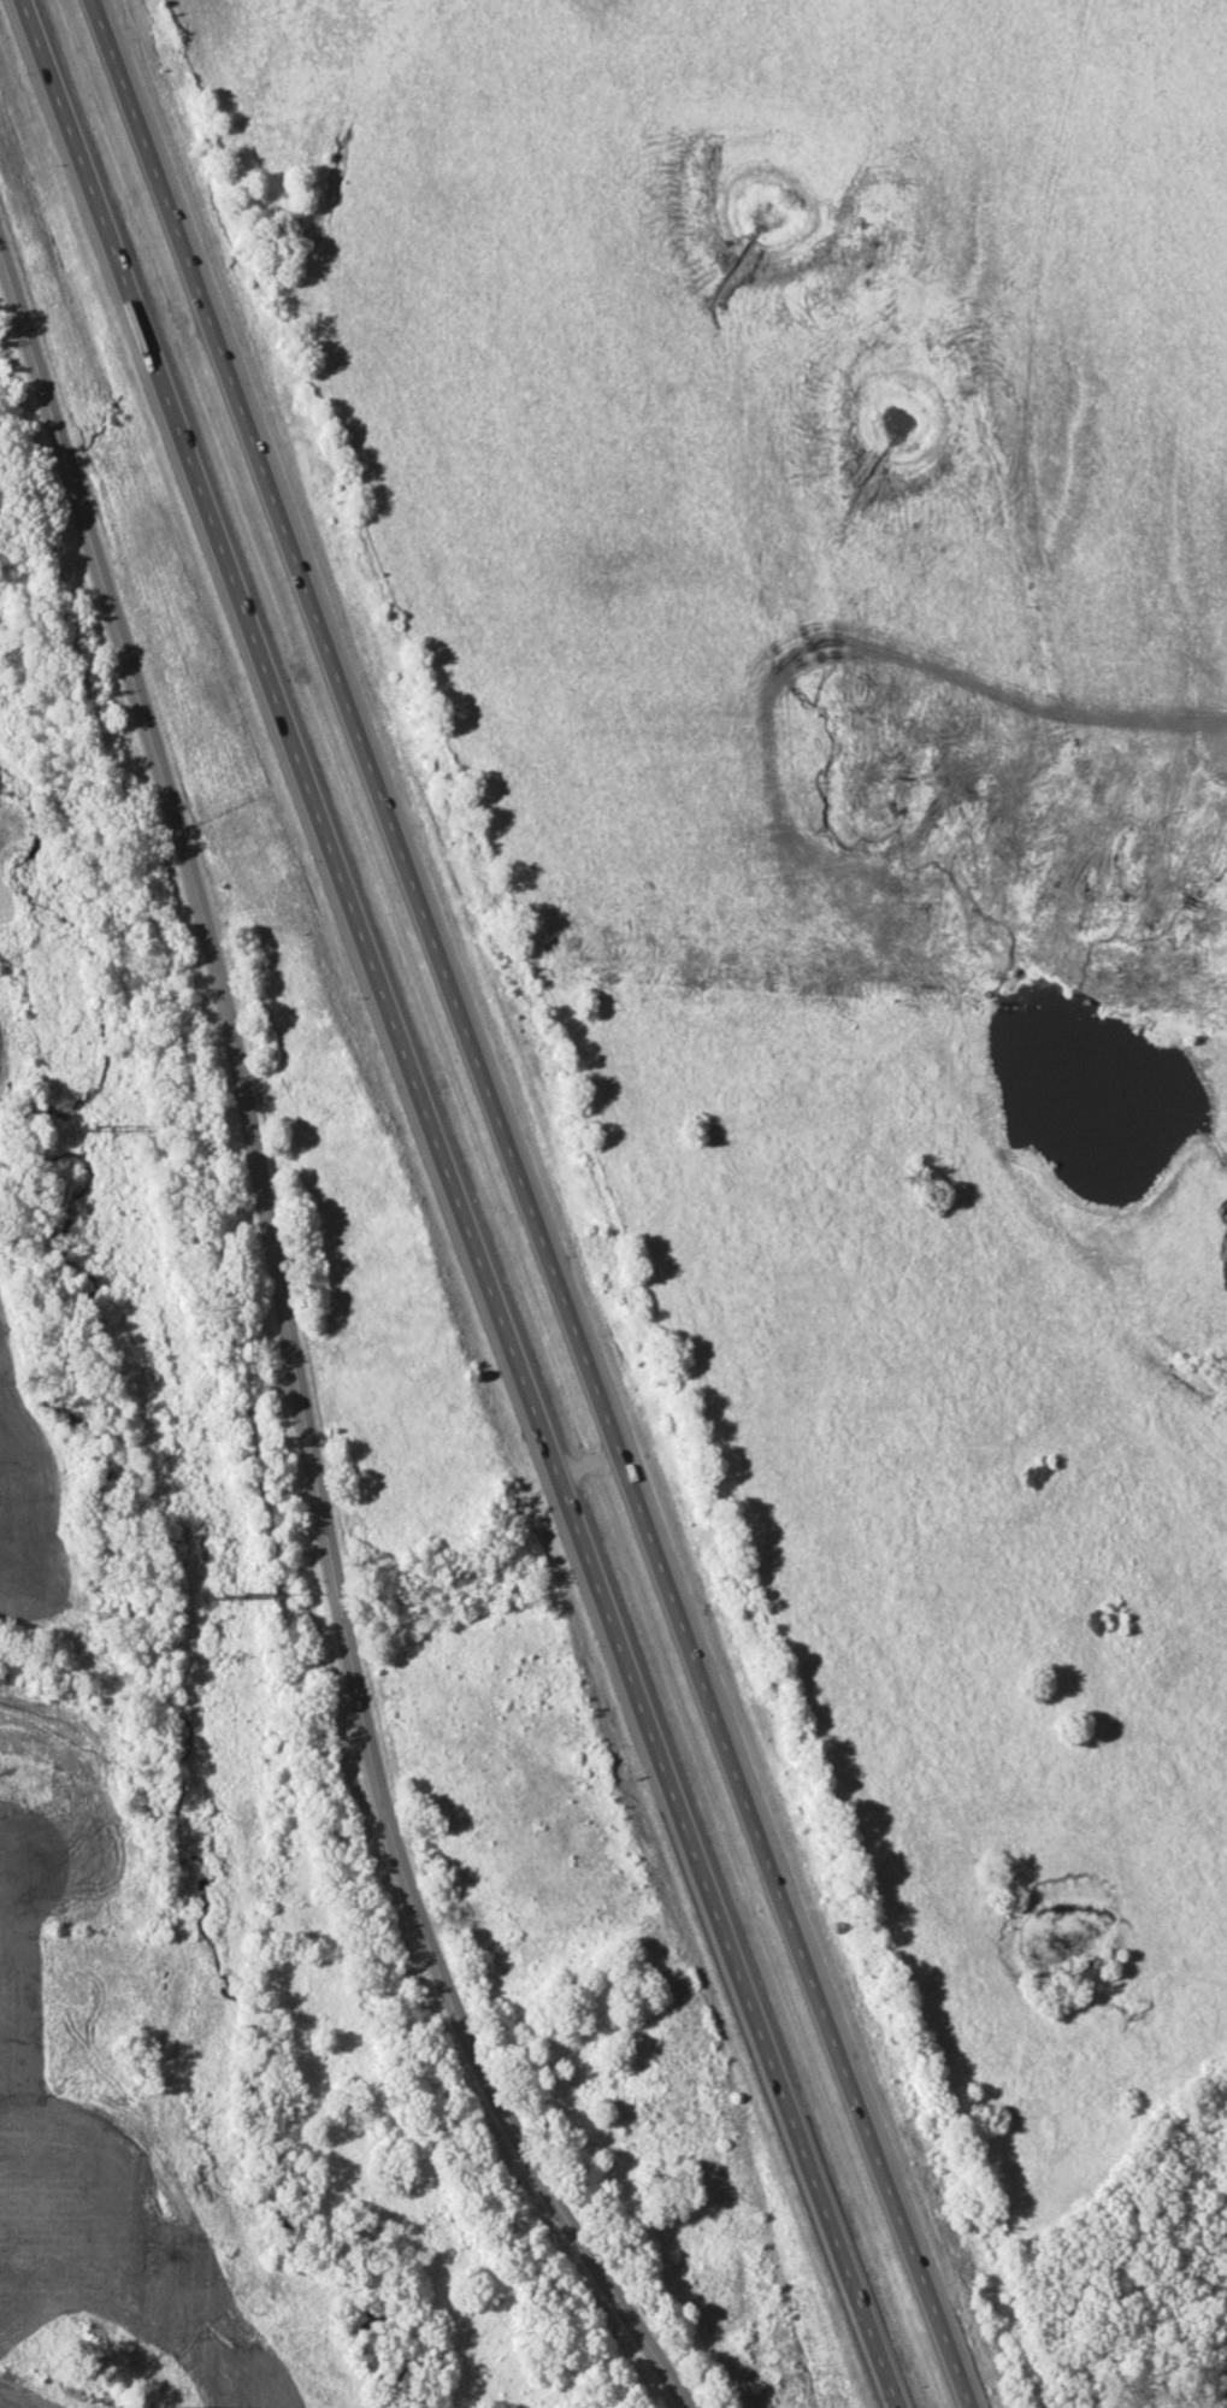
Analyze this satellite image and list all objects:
power tower: (96, 1124)
road: (456, 1203)
road: (533, 1203)
road: (293, 1348)
power tower: (226, 1595)
power tower: (183, 2402)

